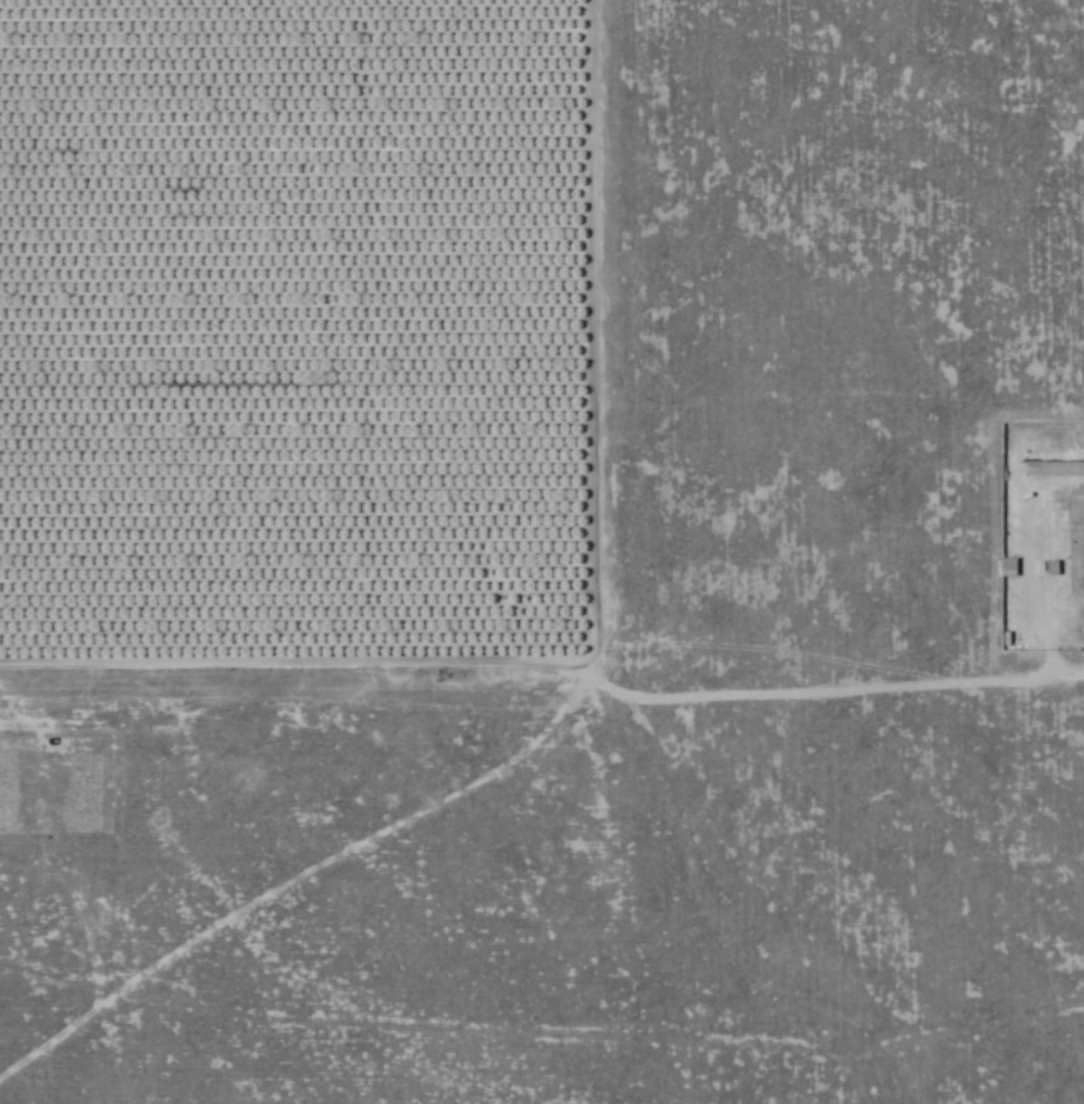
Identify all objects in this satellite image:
crop: (294, 337)

